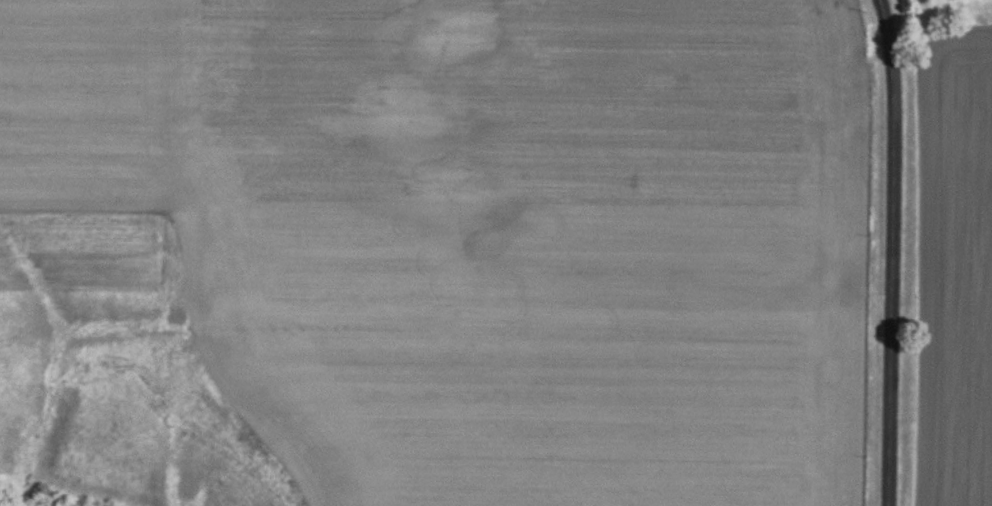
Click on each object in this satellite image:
road: (899, 37)
road: (895, 252)

